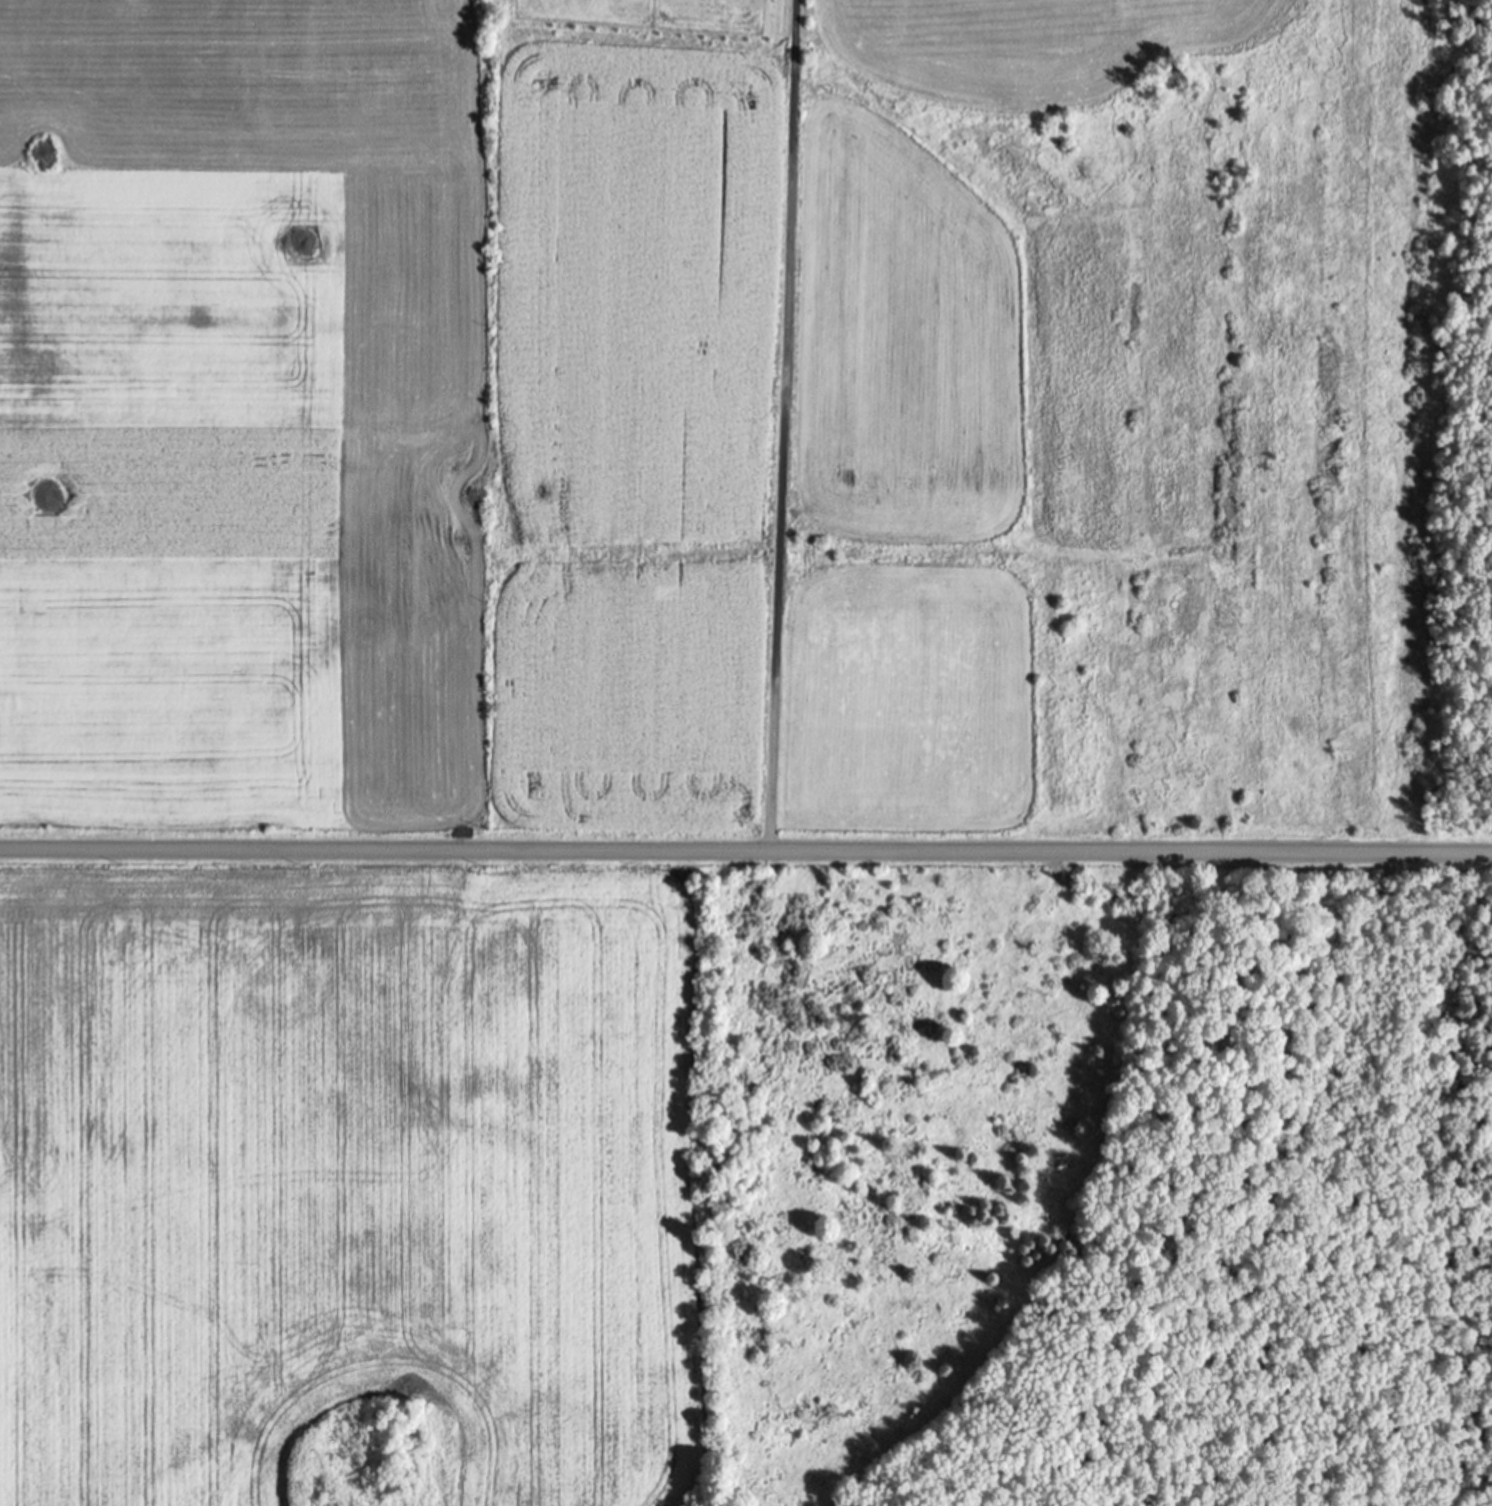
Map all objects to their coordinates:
river: (1304, 738)
road: (746, 849)

